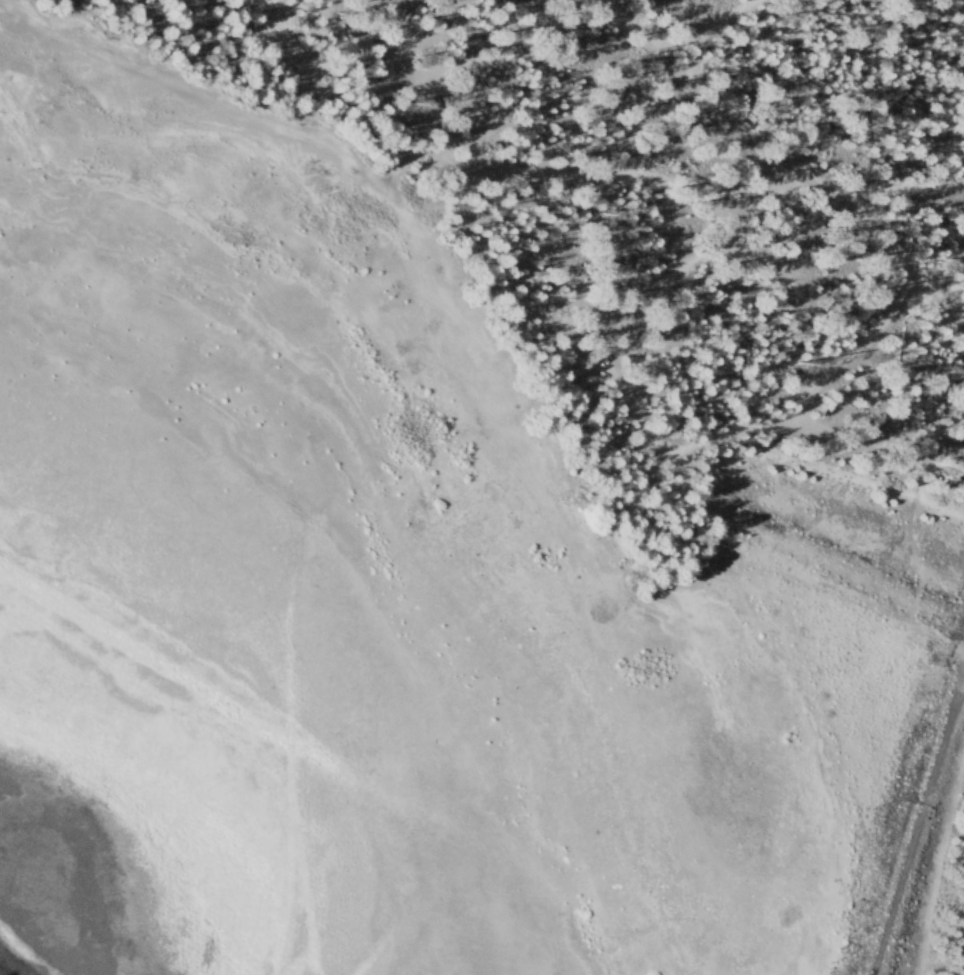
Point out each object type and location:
road: (709, 28)
road: (780, 162)
road: (508, 166)
road: (888, 189)
road: (643, 432)

